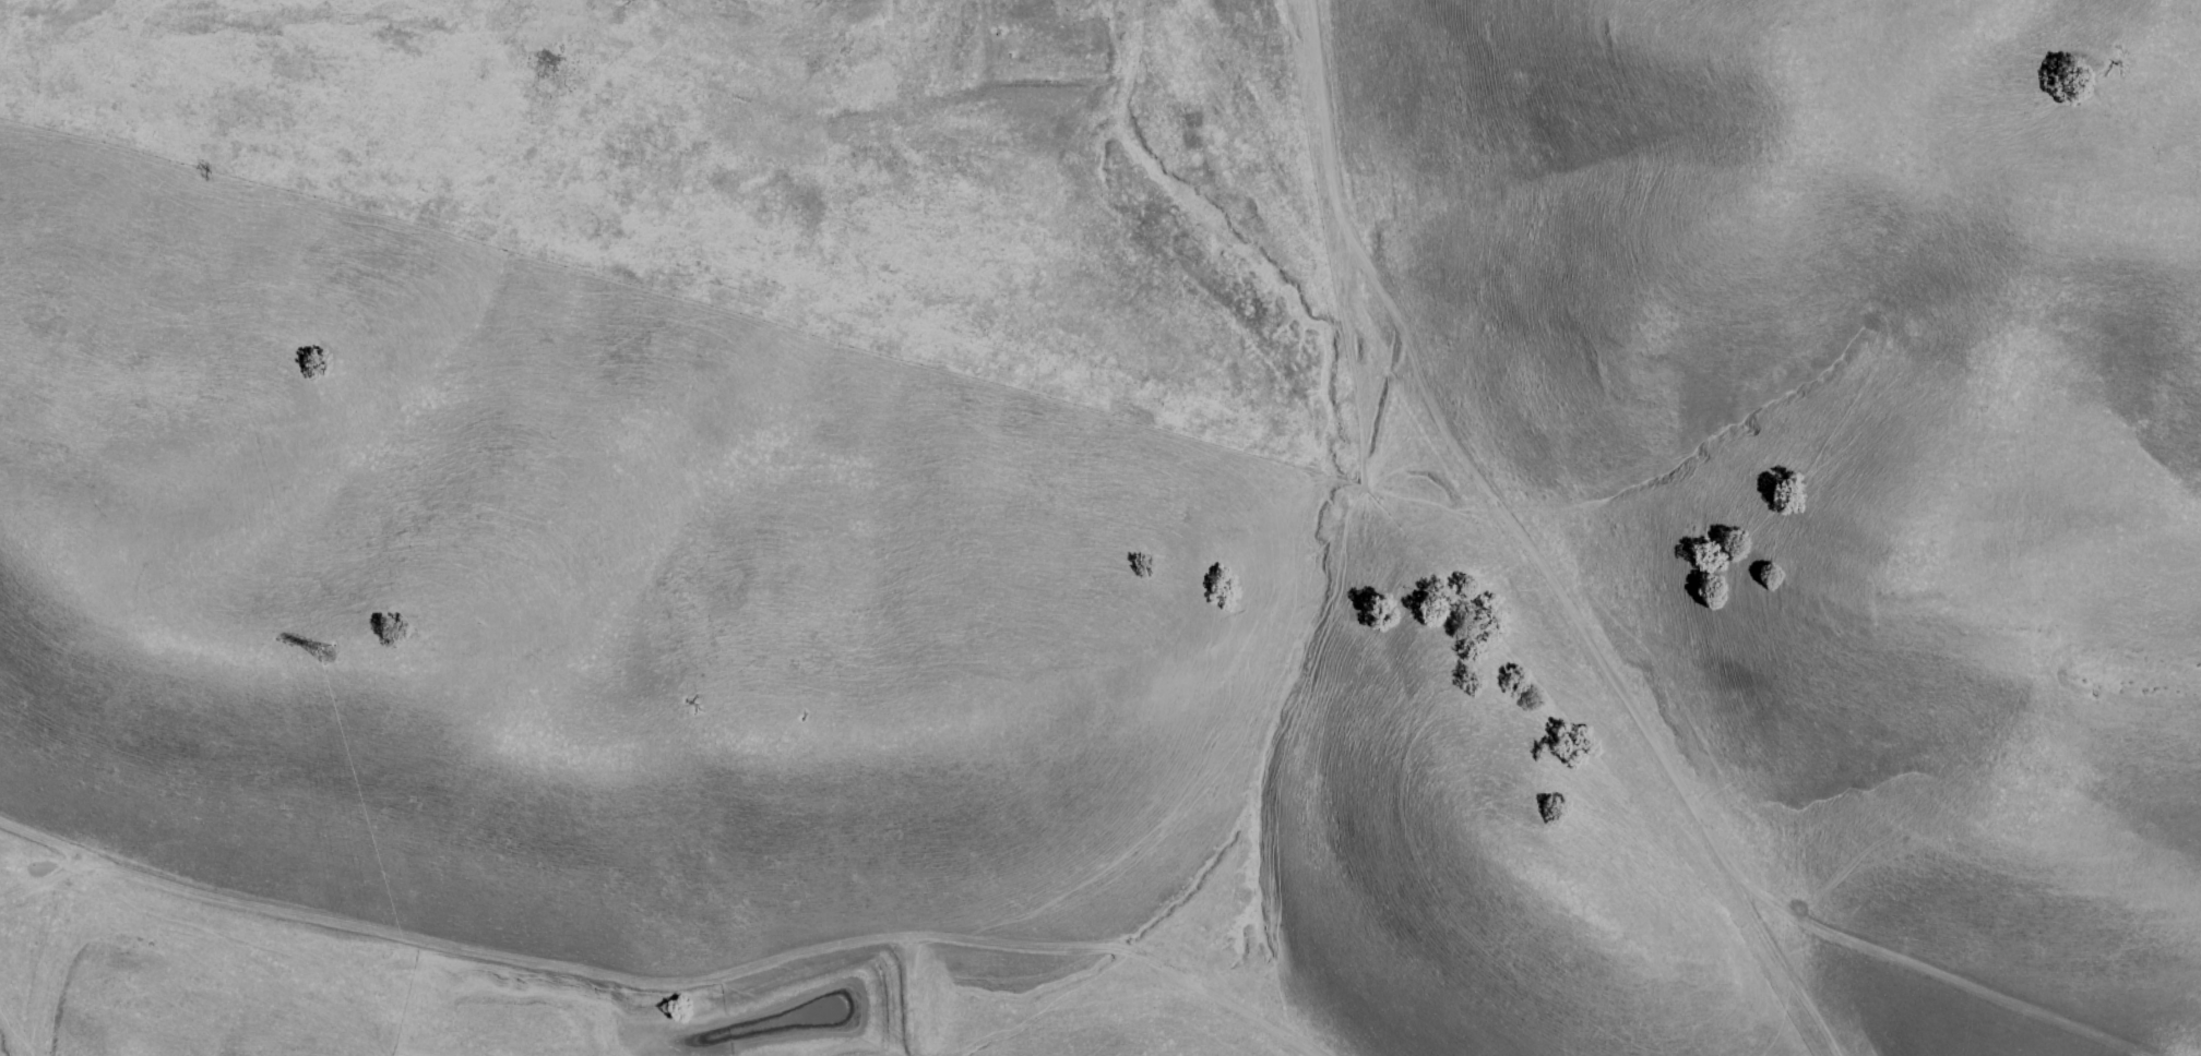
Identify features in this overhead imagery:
power tower: (331, 659)
road: (46, 884)
wastewater plant: (800, 1032)

